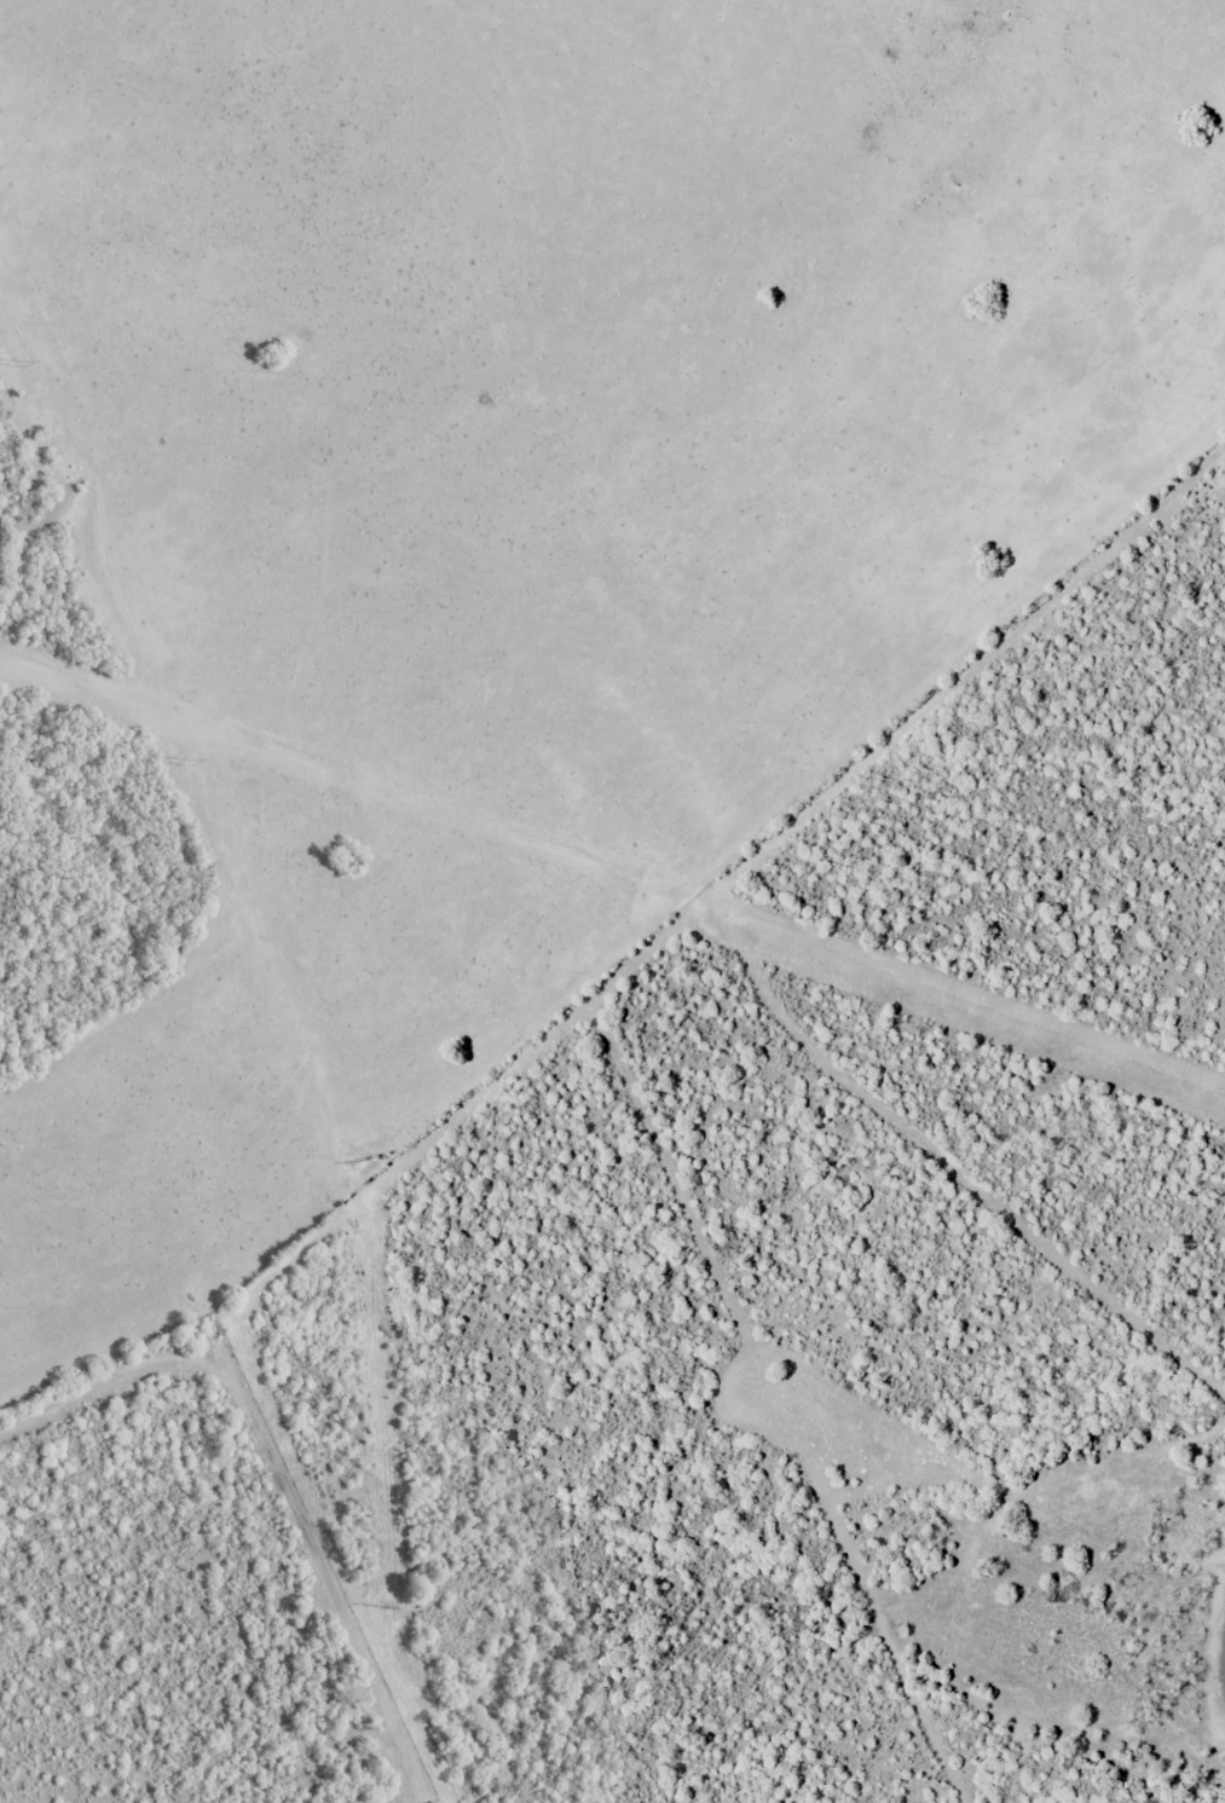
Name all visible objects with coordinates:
power tower: (15, 364)
power tower: (187, 764)
power tower: (362, 1161)
road: (333, 1606)
power tower: (393, 1611)

